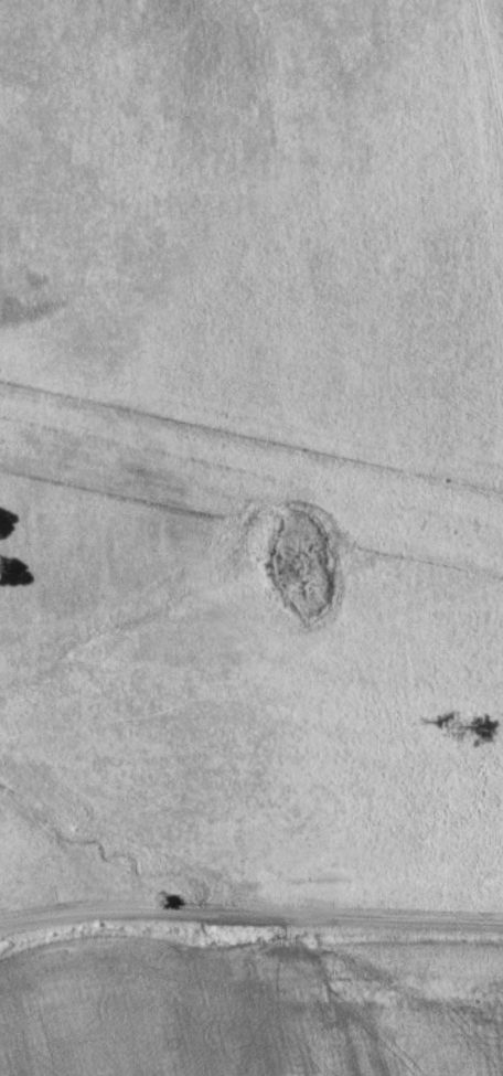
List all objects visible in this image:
road: (250, 917)

